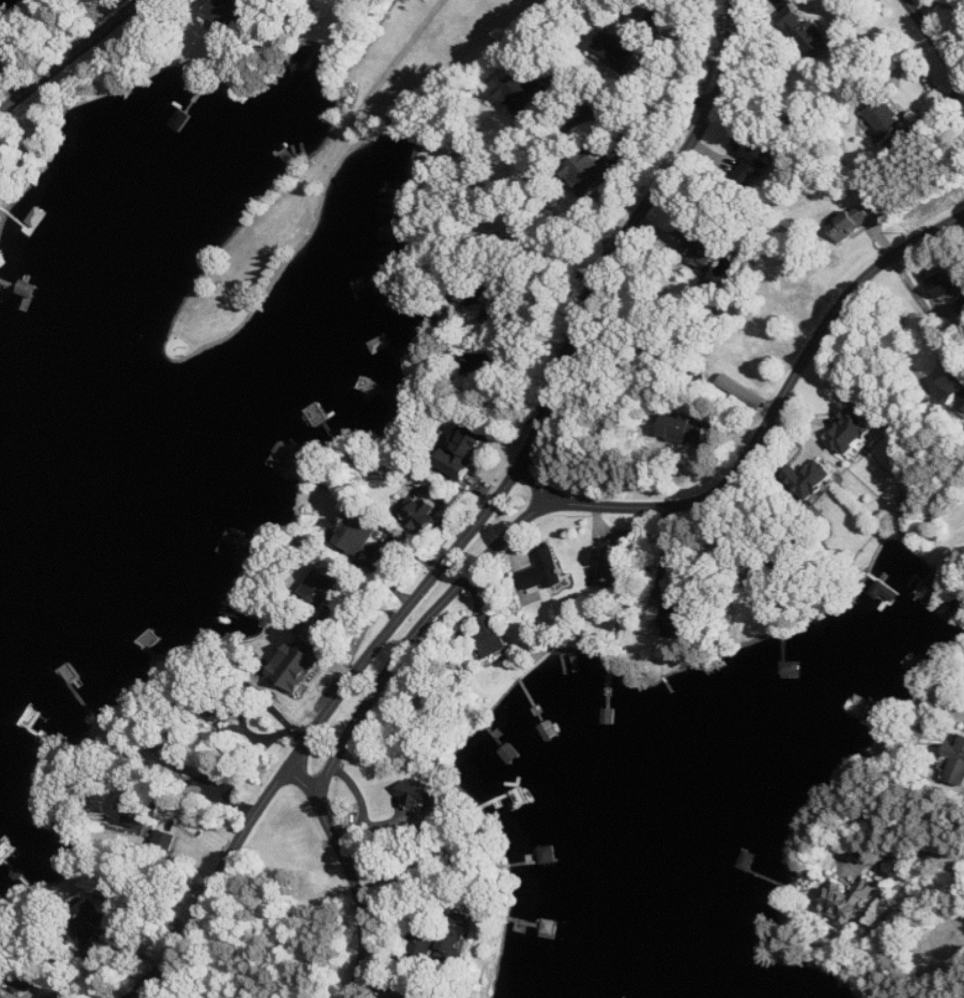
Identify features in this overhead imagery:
building: (233, 14)
road: (430, 18)
building: (806, 31)
road: (697, 37)
road: (934, 42)
building: (623, 47)
road: (67, 53)
building: (524, 93)
road: (615, 117)
building: (884, 118)
building: (746, 157)
building: (591, 171)
building: (853, 223)
building: (699, 244)
road: (512, 281)
building: (950, 284)
building: (487, 362)
building: (953, 391)
road: (546, 405)
road: (771, 414)
building: (853, 428)
building: (687, 431)
building: (465, 450)
building: (812, 478)
building: (360, 533)
road: (668, 550)
building: (614, 564)
building: (546, 571)
building: (323, 586)
building: (679, 619)
building: (492, 636)
building: (298, 664)
building: (955, 763)
building: (415, 793)
building: (139, 806)
road: (907, 852)
road: (354, 881)
road: (215, 884)
building: (848, 901)
building: (94, 929)
building: (463, 933)
building: (397, 997)

